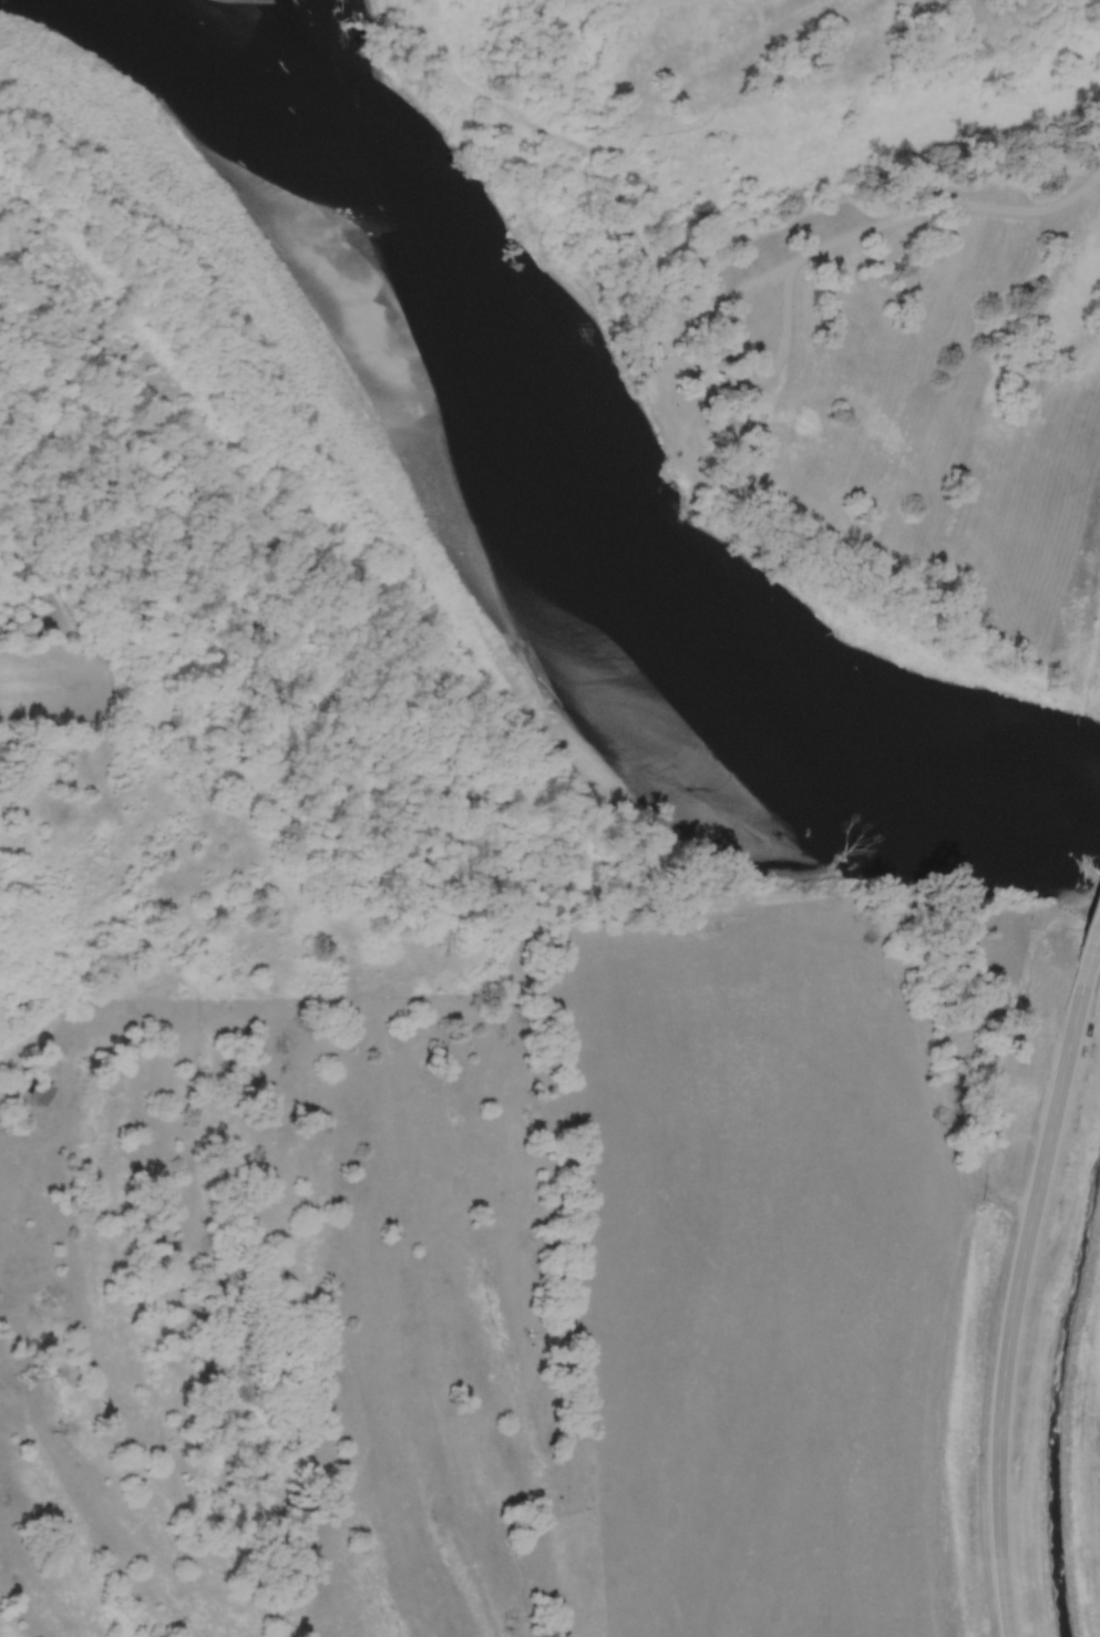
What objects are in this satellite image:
road: (945, 205)
road: (702, 372)
river: (520, 528)
road: (1098, 900)
building: (32, 1094)
road: (1018, 1270)

